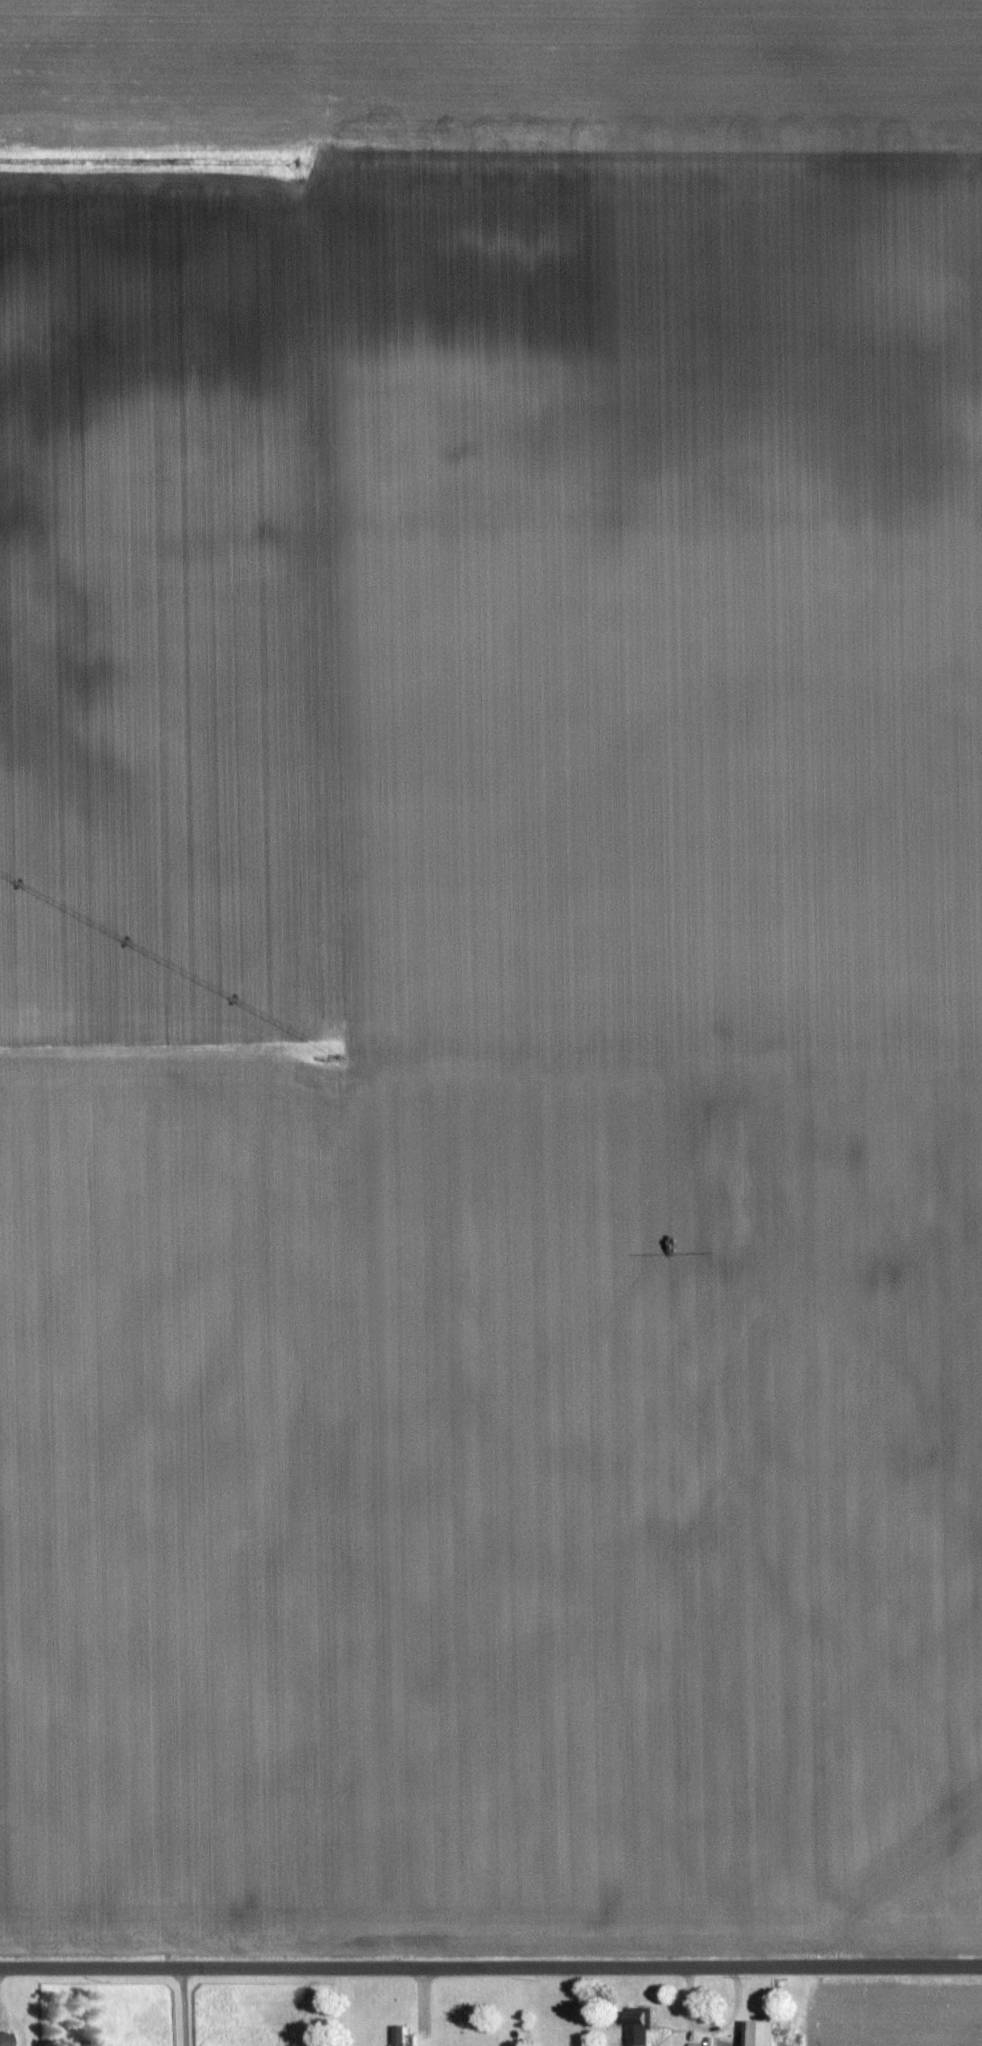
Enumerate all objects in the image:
road: (491, 1965)
road: (185, 2006)
road: (419, 2006)
building: (637, 2026)
building: (757, 2032)
building: (396, 2035)
building: (4, 2039)

